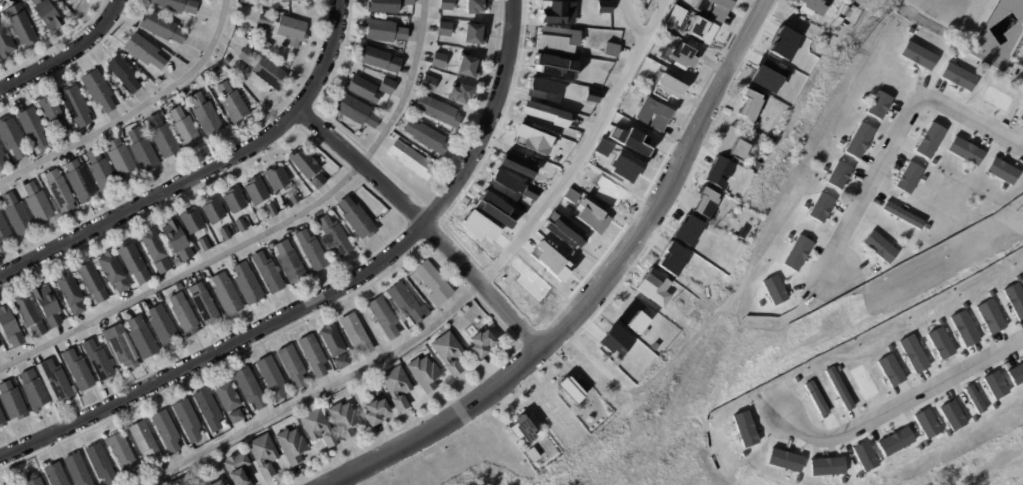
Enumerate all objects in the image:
building: (280, 0)
building: (292, 0)
building: (409, 3)
building: (446, 5)
building: (603, 5)
building: (175, 6)
building: (384, 6)
building: (476, 7)
building: (813, 7)
building: (715, 8)
building: (556, 12)
building: (46, 14)
building: (677, 16)
building: (265, 21)
road: (633, 22)
building: (21, 27)
building: (162, 28)
building: (291, 29)
building: (444, 29)
building: (701, 30)
building: (385, 31)
building: (474, 35)
building: (556, 38)
building: (670, 38)
building: (5, 43)
building: (609, 47)
power tower: (848, 49)
building: (143, 52)
building: (1019, 52)
road: (66, 53)
building: (683, 55)
building: (916, 55)
building: (246, 56)
building: (379, 60)
building: (439, 61)
building: (997, 65)
building: (552, 66)
building: (468, 68)
building: (123, 74)
building: (270, 74)
road: (1020, 75)
building: (956, 76)
building: (154, 77)
building: (231, 83)
building: (429, 85)
building: (387, 87)
building: (670, 87)
building: (543, 89)
building: (362, 90)
building: (98, 91)
building: (591, 94)
building: (461, 95)
building: (996, 98)
building: (246, 102)
building: (232, 103)
building: (750, 104)
building: (877, 104)
building: (75, 106)
road: (135, 112)
building: (355, 112)
building: (439, 112)
building: (543, 113)
building: (204, 115)
building: (1020, 115)
building: (53, 118)
building: (663, 118)
road: (970, 120)
building: (31, 127)
building: (185, 130)
building: (427, 137)
building: (12, 138)
building: (163, 138)
building: (531, 139)
building: (928, 139)
building: (858, 140)
building: (736, 146)
road: (586, 147)
building: (602, 147)
building: (963, 150)
building: (143, 152)
building: (82, 158)
building: (2, 160)
building: (122, 160)
building: (412, 161)
building: (304, 162)
building: (516, 165)
building: (622, 166)
road: (206, 170)
building: (1001, 170)
building: (100, 172)
building: (837, 174)
building: (276, 177)
building: (908, 177)
building: (318, 180)
building: (80, 182)
road: (865, 183)
building: (509, 186)
building: (256, 190)
building: (59, 192)
building: (569, 195)
building: (293, 196)
building: (234, 199)
building: (705, 203)
building: (37, 204)
building: (819, 206)
building: (213, 209)
building: (271, 209)
building: (494, 209)
building: (901, 213)
building: (17, 216)
building: (589, 216)
building: (357, 218)
building: (191, 220)
building: (241, 224)
road: (428, 224)
building: (739, 231)
building: (4, 232)
road: (265, 232)
building: (224, 233)
building: (335, 236)
building: (176, 239)
building: (204, 243)
building: (878, 245)
building: (155, 250)
building: (311, 250)
building: (796, 251)
building: (548, 256)
building: (290, 261)
building: (133, 262)
building: (113, 270)
building: (268, 272)
building: (92, 281)
building: (247, 283)
building: (434, 283)
road: (601, 289)
building: (773, 289)
building: (70, 292)
building: (227, 293)
road: (328, 295)
building: (1014, 300)
building: (407, 302)
building: (759, 302)
building: (204, 303)
building: (47, 305)
building: (29, 314)
building: (183, 314)
building: (990, 316)
building: (384, 317)
building: (634, 319)
building: (162, 326)
building: (10, 327)
building: (963, 328)
building: (356, 333)
building: (142, 337)
building: (332, 340)
building: (483, 342)
building: (939, 343)
building: (122, 346)
building: (449, 352)
building: (912, 353)
building: (313, 354)
building: (98, 360)
building: (341, 362)
building: (292, 366)
building: (78, 370)
building: (889, 370)
building: (425, 373)
building: (1015, 373)
building: (272, 376)
building: (56, 380)
building: (863, 381)
building: (994, 384)
building: (398, 386)
building: (838, 387)
building: (250, 388)
building: (34, 389)
building: (573, 389)
road: (320, 394)
building: (227, 395)
building: (972, 398)
building: (12, 401)
road: (903, 403)
building: (208, 409)
building: (377, 411)
building: (950, 415)
building: (235, 416)
building: (344, 419)
building: (2, 420)
building: (188, 420)
building: (925, 422)
building: (318, 427)
building: (526, 427)
building: (166, 430)
building: (895, 441)
building: (146, 443)
building: (292, 445)
building: (123, 453)
building: (264, 454)
building: (533, 454)
building: (863, 455)
building: (783, 459)
building: (101, 463)
building: (825, 466)
building: (237, 468)
building: (77, 470)
building: (55, 474)
building: (31, 479)
building: (183, 481)
building: (217, 483)
building: (3, 484)
building: (8, 484)
building: (227, 484)

